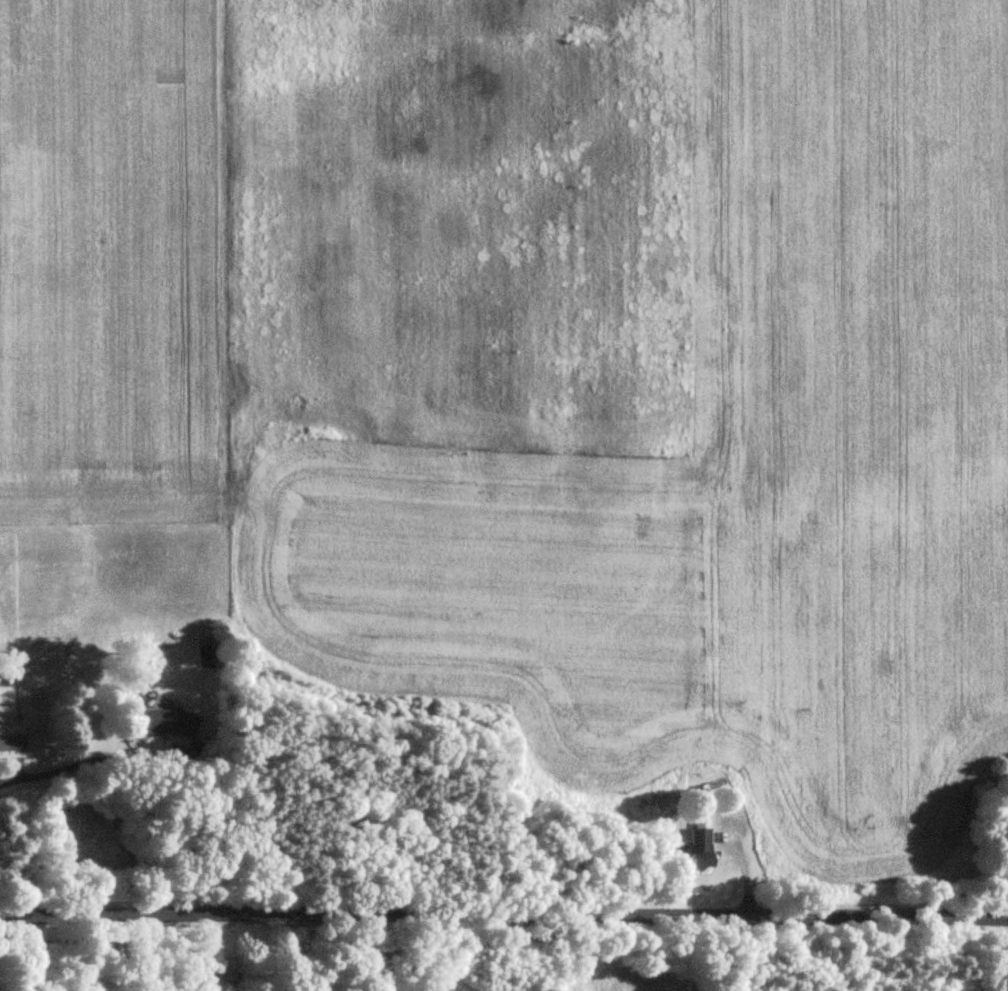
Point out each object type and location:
building: (167, 723)
building: (11, 741)
road: (74, 764)
building: (700, 847)
road: (503, 916)

